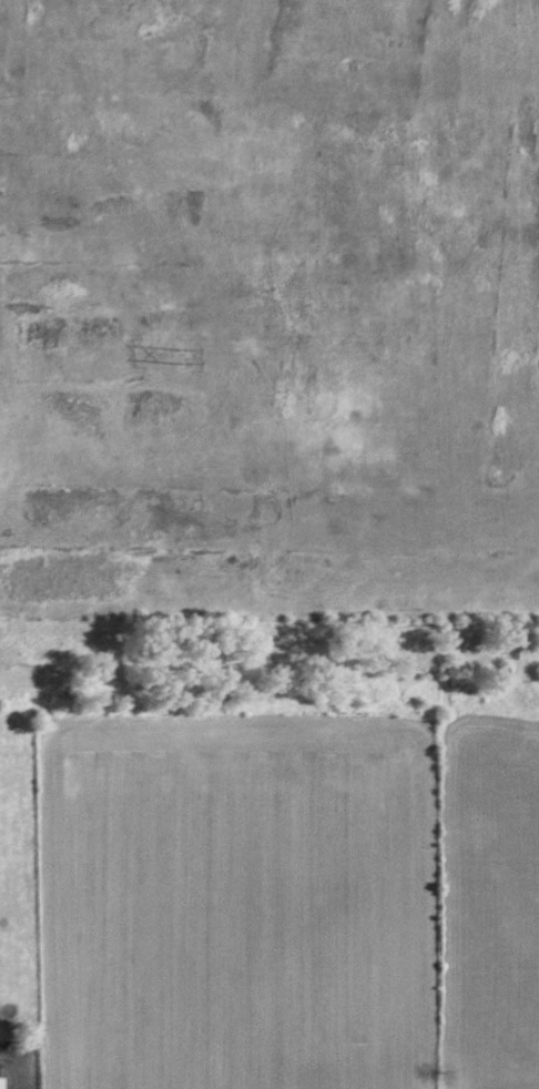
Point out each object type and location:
power tower: (180, 354)

